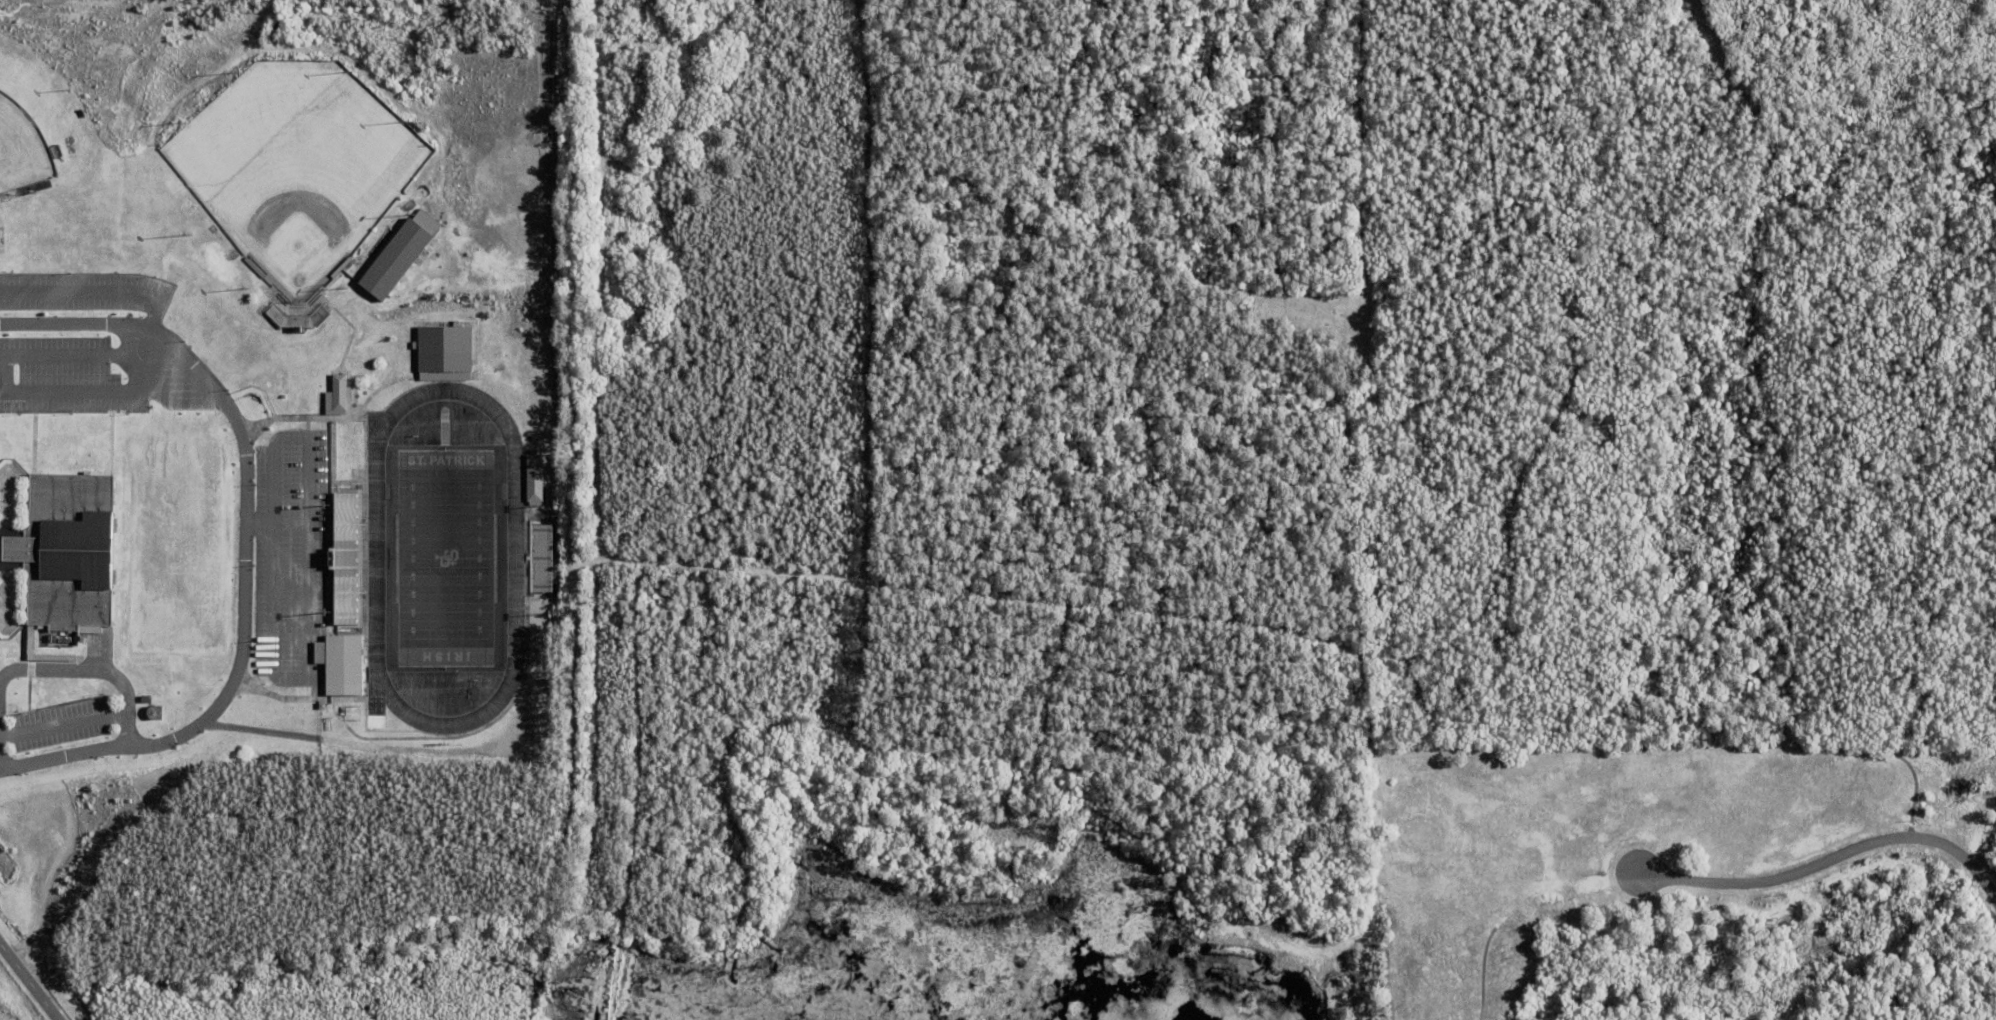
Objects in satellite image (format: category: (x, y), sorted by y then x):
park: (32, 132)
park: (295, 168)
building: (392, 261)
parking lot: (75, 341)
building: (441, 350)
building: (531, 478)
road: (25, 489)
road: (245, 544)
building: (66, 552)
building: (344, 556)
track: (375, 557)
building: (538, 557)
park: (445, 560)
parking lot: (292, 561)
road: (23, 609)
building: (337, 664)
road: (92, 671)
road: (1831, 862)
road: (28, 983)

